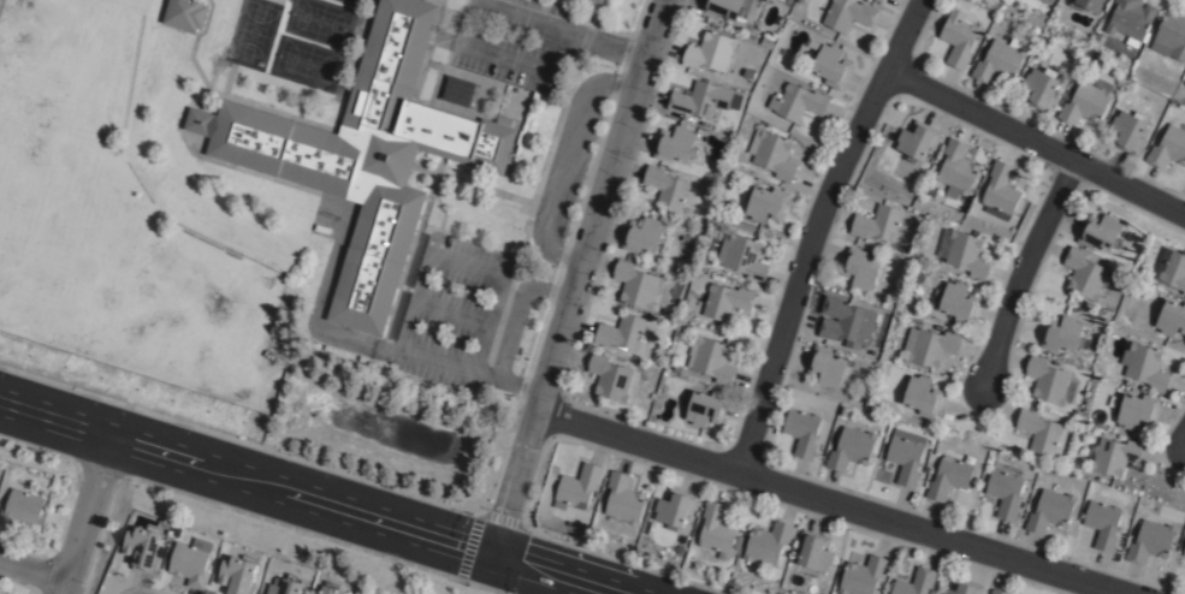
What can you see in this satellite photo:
building: (878, 0)
building: (1048, 0)
building: (1084, 2)
building: (589, 4)
building: (724, 7)
building: (186, 12)
building: (848, 12)
building: (1131, 19)
road: (581, 31)
building: (1169, 35)
building: (958, 36)
building: (1097, 36)
parking lot: (504, 38)
road: (624, 44)
building: (709, 49)
building: (1000, 58)
building: (826, 61)
road: (541, 71)
building: (1041, 87)
building: (699, 97)
building: (798, 100)
building: (1085, 100)
building: (1127, 130)
building: (917, 138)
building: (675, 142)
road: (1037, 143)
building: (1168, 145)
building: (772, 152)
building: (366, 153)
road: (563, 164)
building: (956, 166)
building: (665, 186)
building: (1000, 190)
building: (765, 201)
building: (877, 221)
road: (816, 227)
building: (1100, 230)
building: (642, 234)
building: (964, 251)
building: (742, 255)
building: (1171, 267)
building: (860, 268)
road: (1029, 273)
building: (1083, 273)
road: (579, 278)
building: (634, 284)
building: (725, 299)
building: (959, 301)
road: (517, 310)
road: (452, 311)
parking lot: (450, 313)
building: (1171, 316)
building: (847, 321)
building: (660, 331)
building: (620, 332)
building: (1061, 334)
building: (929, 345)
road: (402, 348)
building: (711, 358)
building: (1144, 364)
building: (830, 367)
building: (609, 376)
building: (1049, 380)
road: (510, 381)
building: (922, 394)
building: (859, 402)
building: (703, 404)
building: (1134, 408)
building: (802, 430)
building: (1041, 432)
road: (1184, 442)
building: (852, 447)
building: (906, 456)
building: (1113, 456)
building: (949, 477)
road: (249, 479)
building: (576, 486)
building: (1005, 488)
building: (622, 499)
road: (836, 499)
building: (674, 507)
building: (22, 509)
building: (1050, 509)
road: (84, 513)
building: (1102, 523)
building: (716, 527)
building: (1150, 540)
building: (768, 542)
building: (144, 547)
building: (814, 550)
building: (1183, 551)
building: (192, 562)
road: (31, 569)
building: (237, 575)
road: (555, 576)
building: (863, 576)
building: (916, 582)
building: (284, 586)
building: (964, 587)
building: (332, 589)
building: (368, 590)
building: (999, 592)

